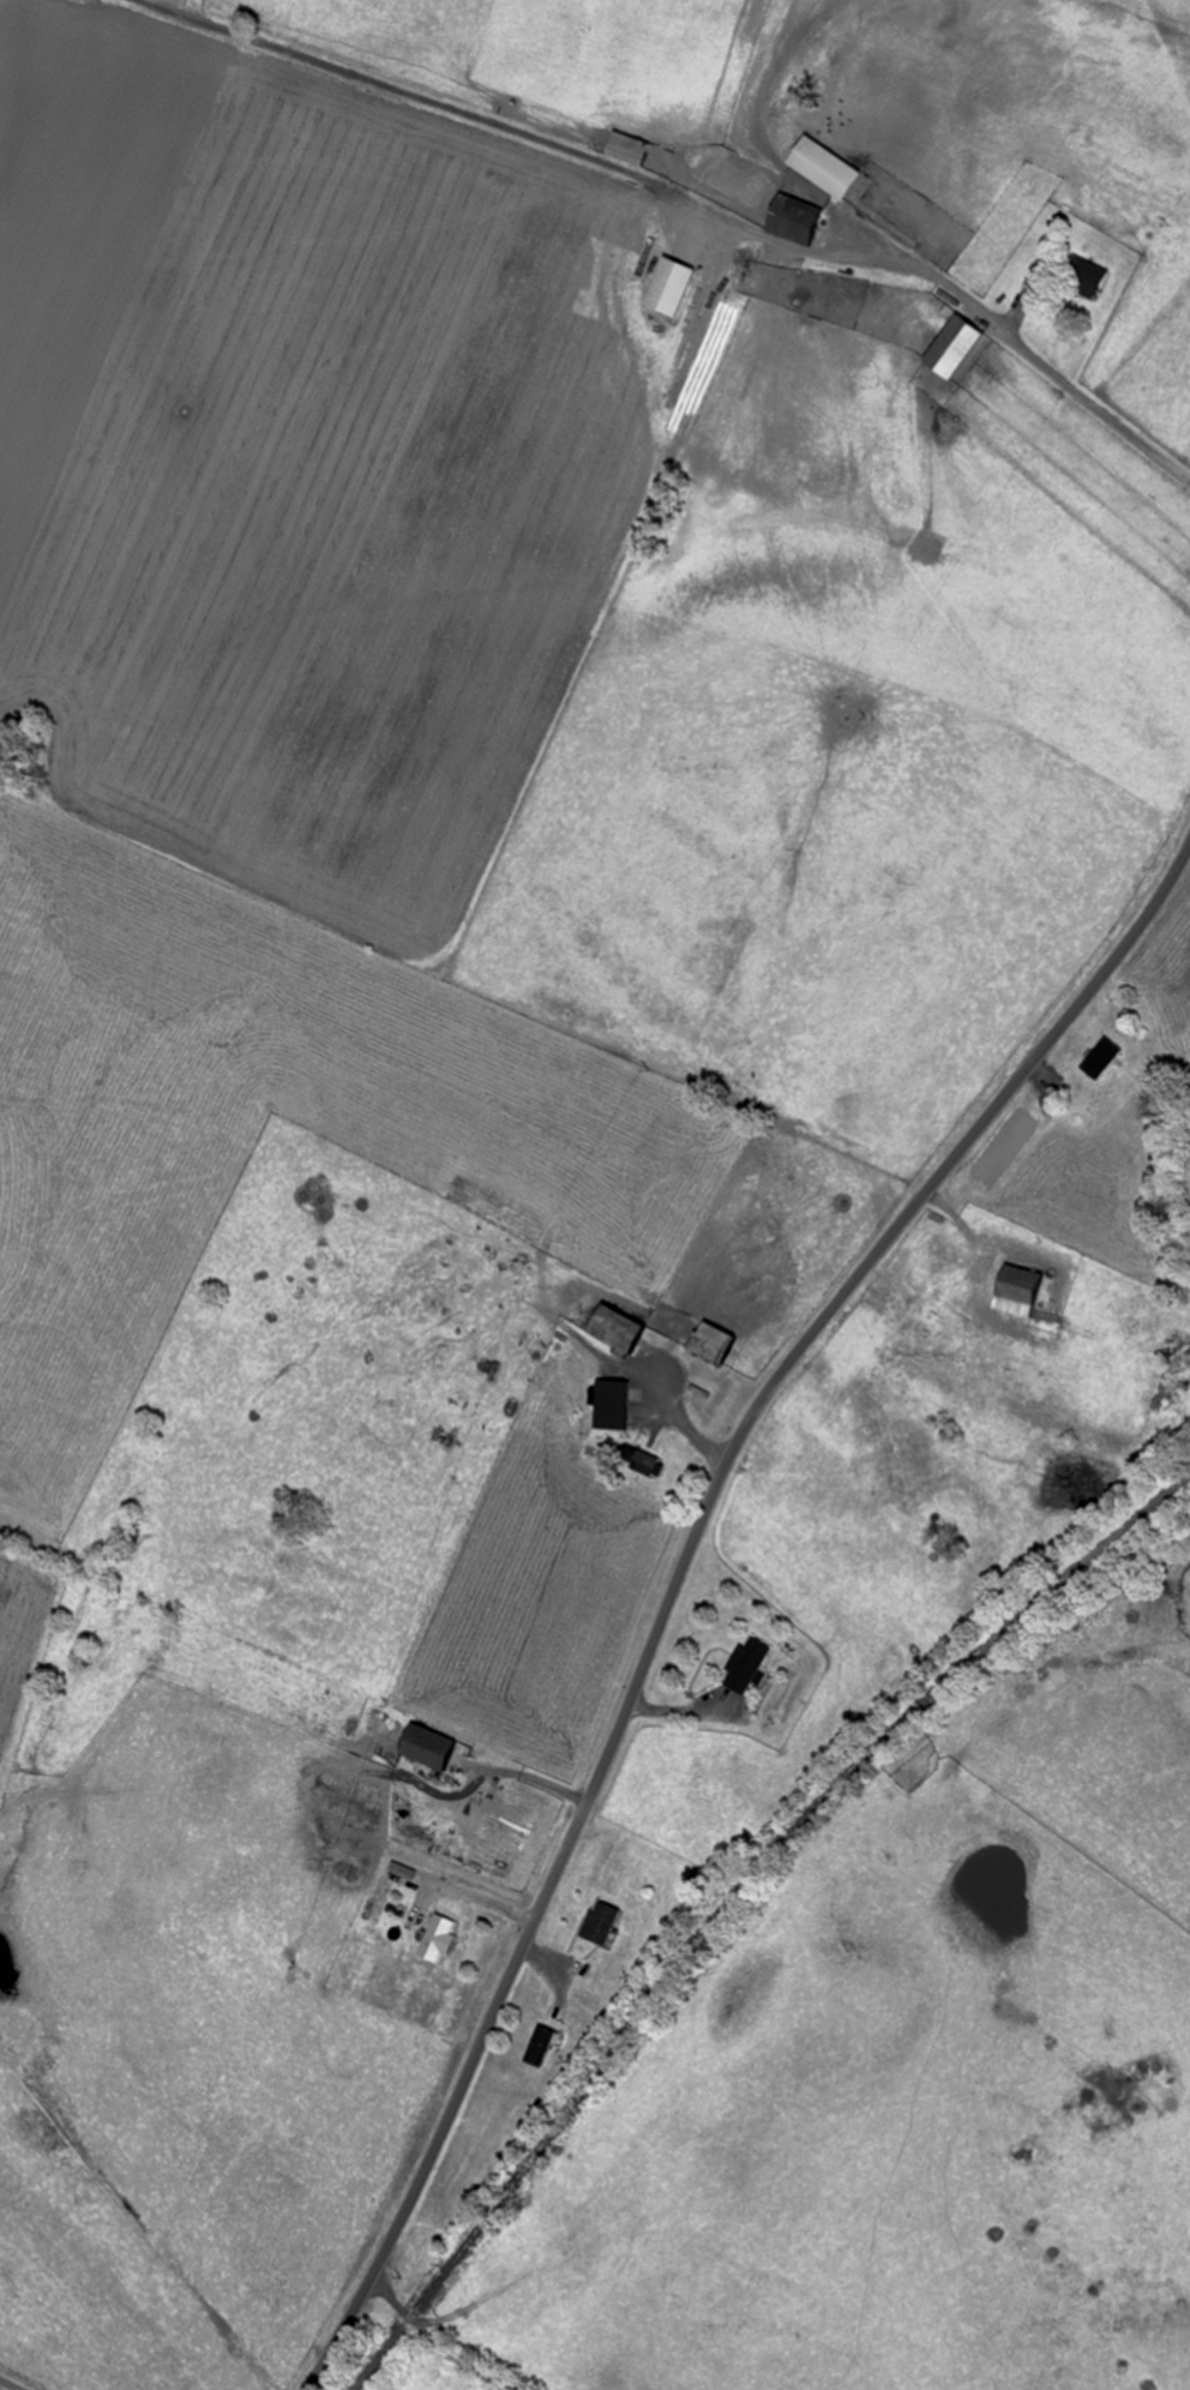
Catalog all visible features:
building: (626, 150)
building: (823, 167)
building: (791, 218)
building: (1083, 277)
building: (668, 288)
building: (948, 348)
road: (1106, 379)
building: (1098, 1059)
building: (1016, 1291)
building: (612, 1327)
building: (711, 1343)
building: (647, 1463)
road: (680, 1577)
building: (743, 1665)
building: (423, 1746)
railway: (735, 1903)
building: (596, 1922)
building: (435, 1939)
building: (537, 2046)
road: (434, 2340)

